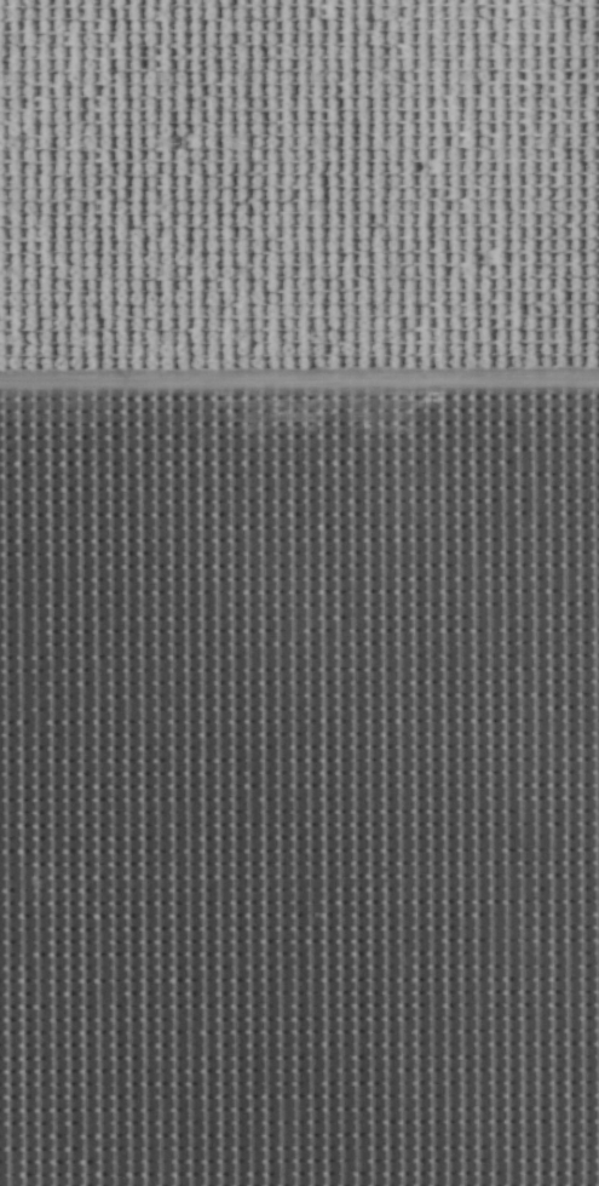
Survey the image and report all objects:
crop: (299, 592)

